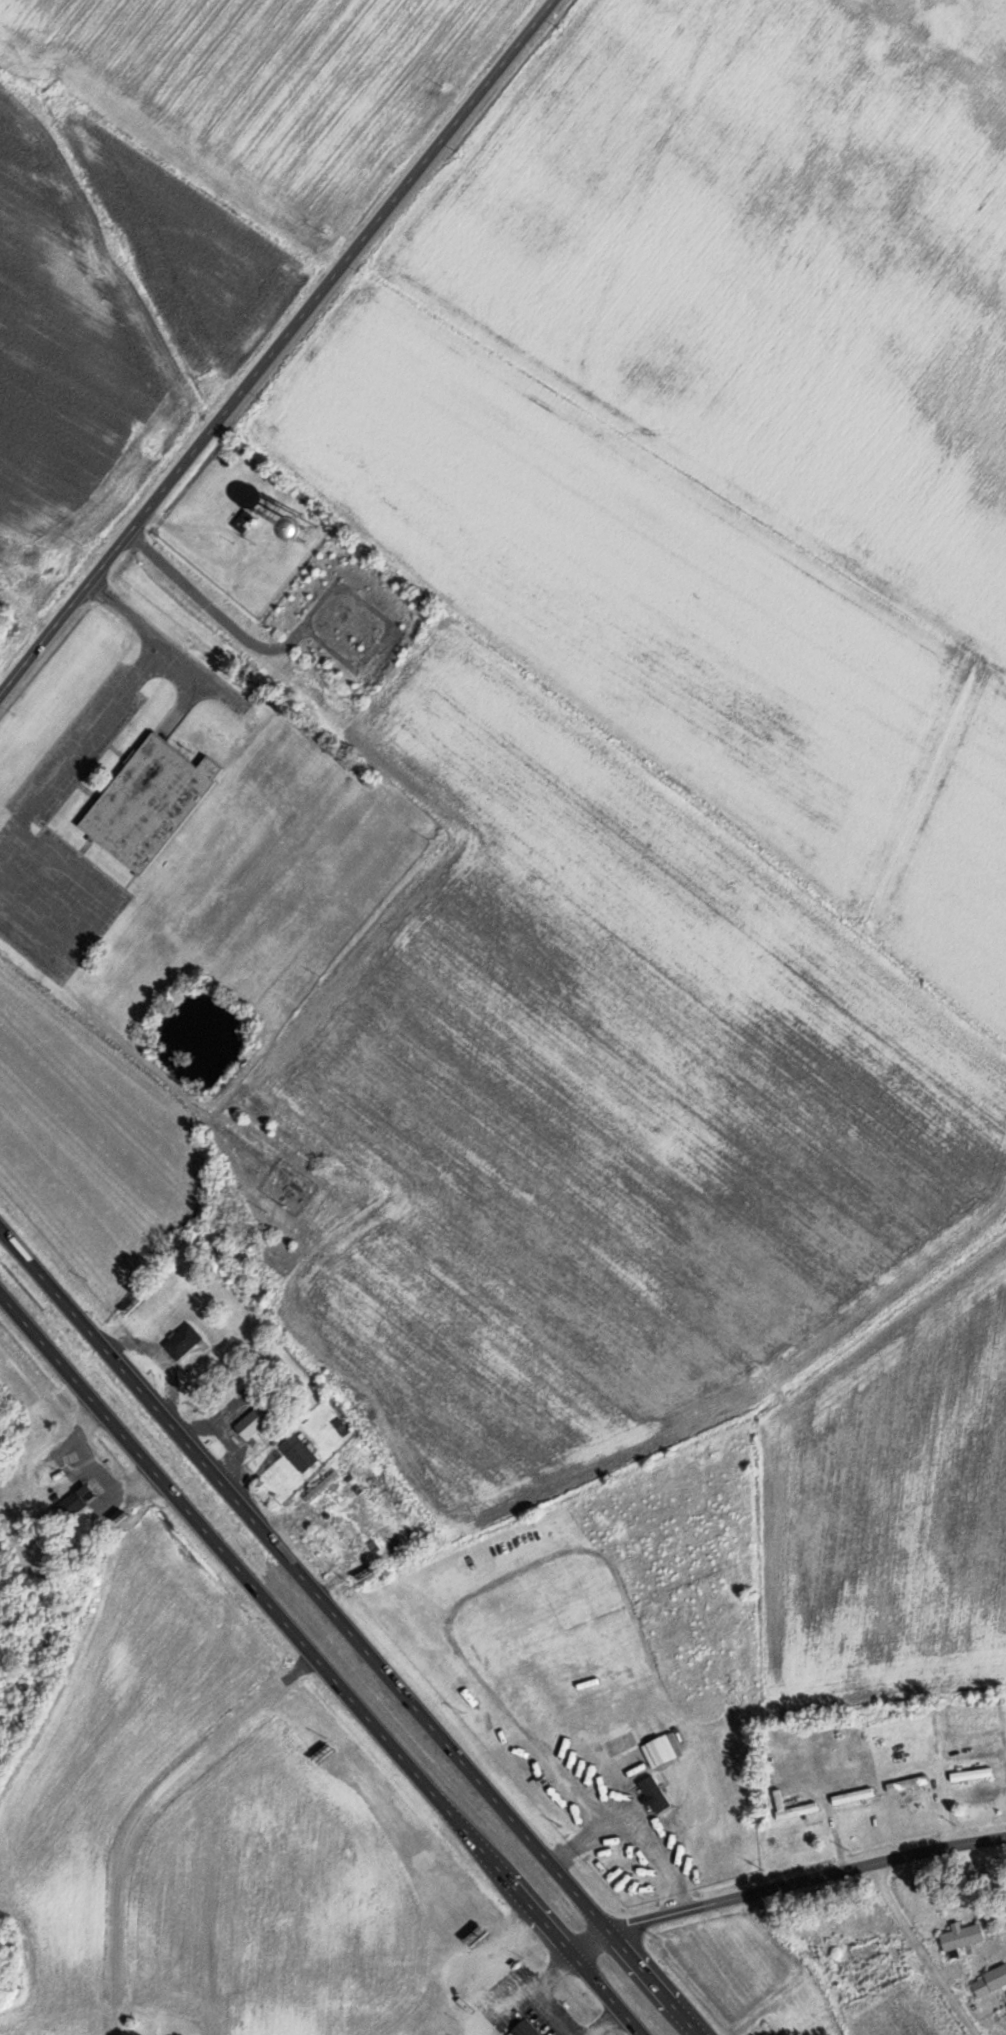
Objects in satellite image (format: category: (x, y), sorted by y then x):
road: (277, 346)
building: (241, 521)
building: (151, 801)
building: (182, 1340)
building: (253, 1421)
building: (299, 1452)
building: (322, 1485)
building: (369, 1495)
building: (77, 1500)
building: (15, 1505)
building: (350, 1533)
road: (350, 1630)
road: (321, 1663)
building: (970, 1774)
building: (907, 1783)
building: (654, 1794)
building: (852, 1796)
building: (807, 1806)
road: (806, 1878)
road: (968, 1900)
road: (586, 1937)
building: (961, 1937)
building: (865, 1951)
road: (283, 1983)
building: (981, 1987)
building: (772, 2024)
building: (525, 2028)

